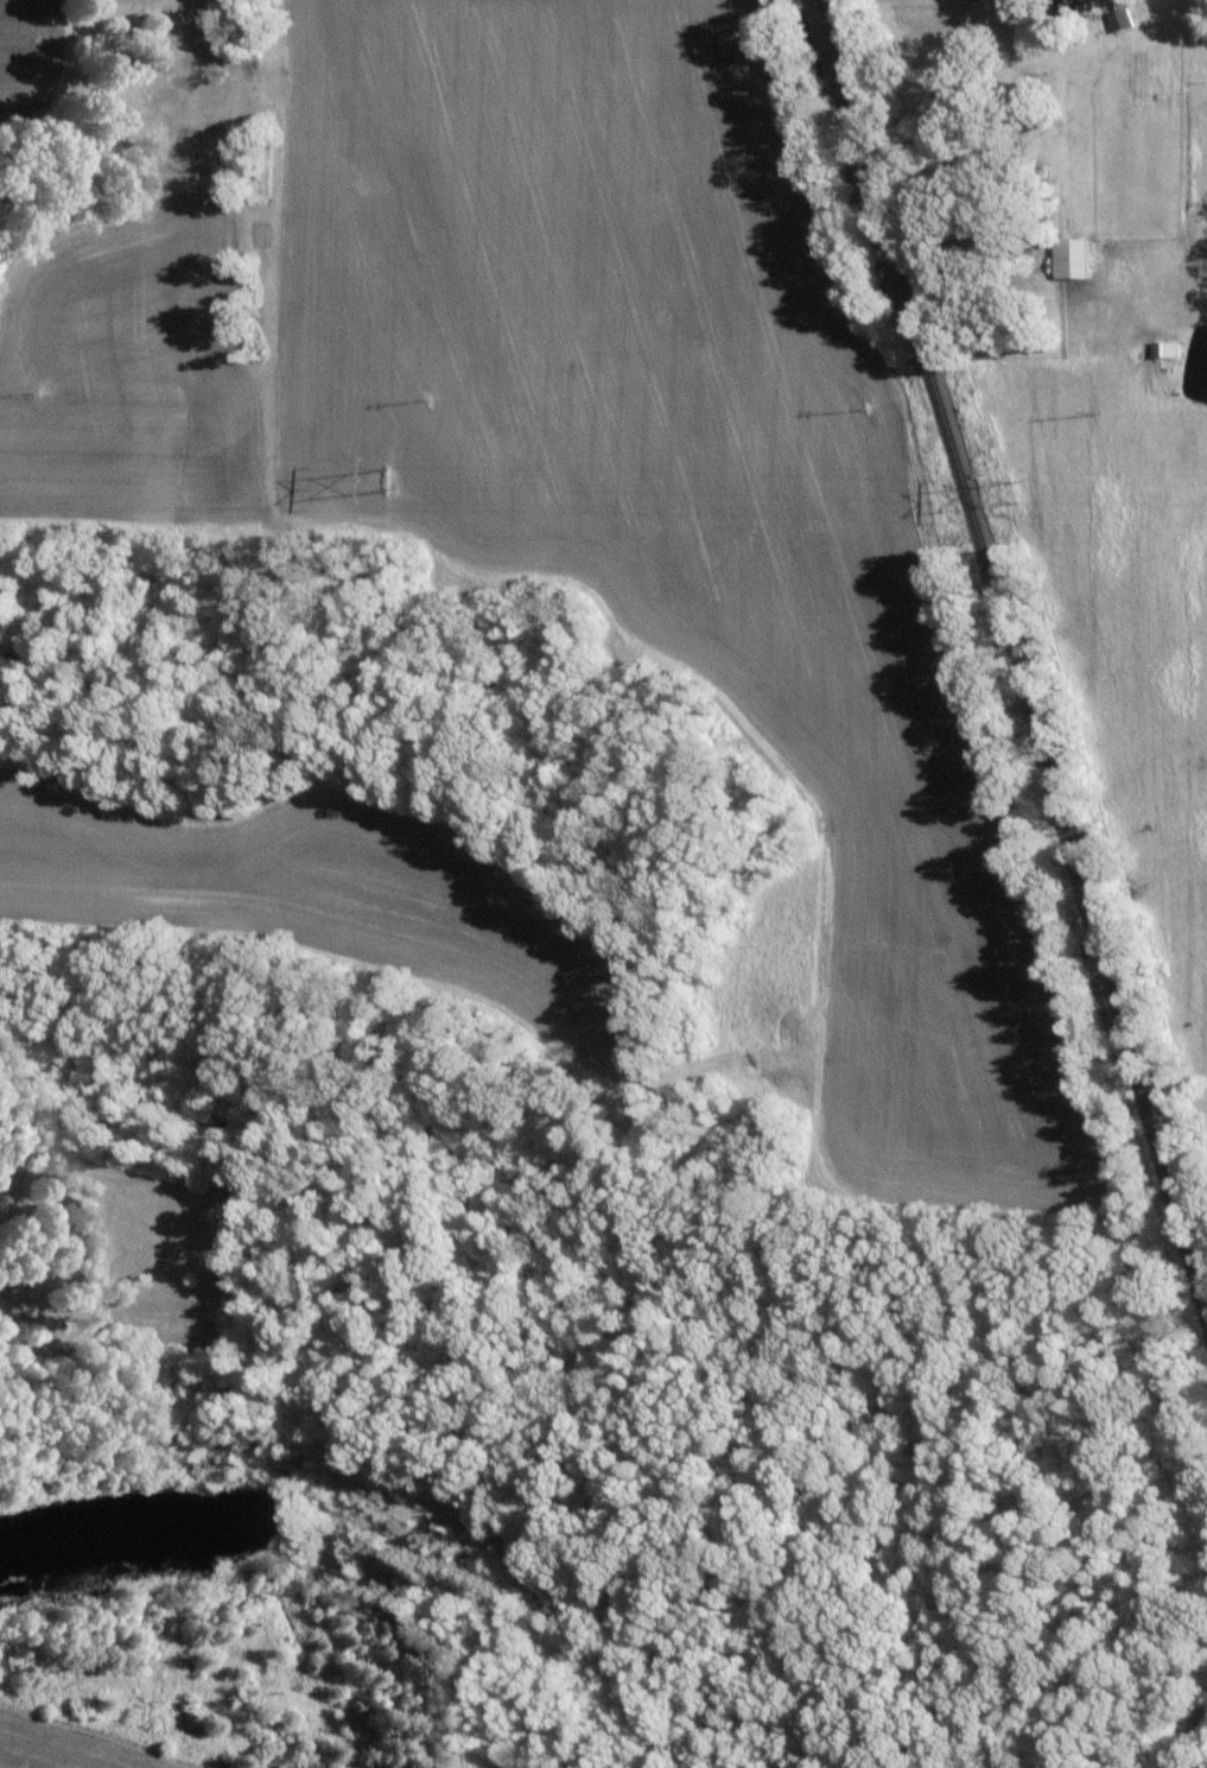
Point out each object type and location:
building: (1066, 1)
building: (1118, 19)
building: (1068, 256)
building: (1162, 347)
power tower: (385, 479)
power tower: (1018, 488)
railway: (1016, 642)

